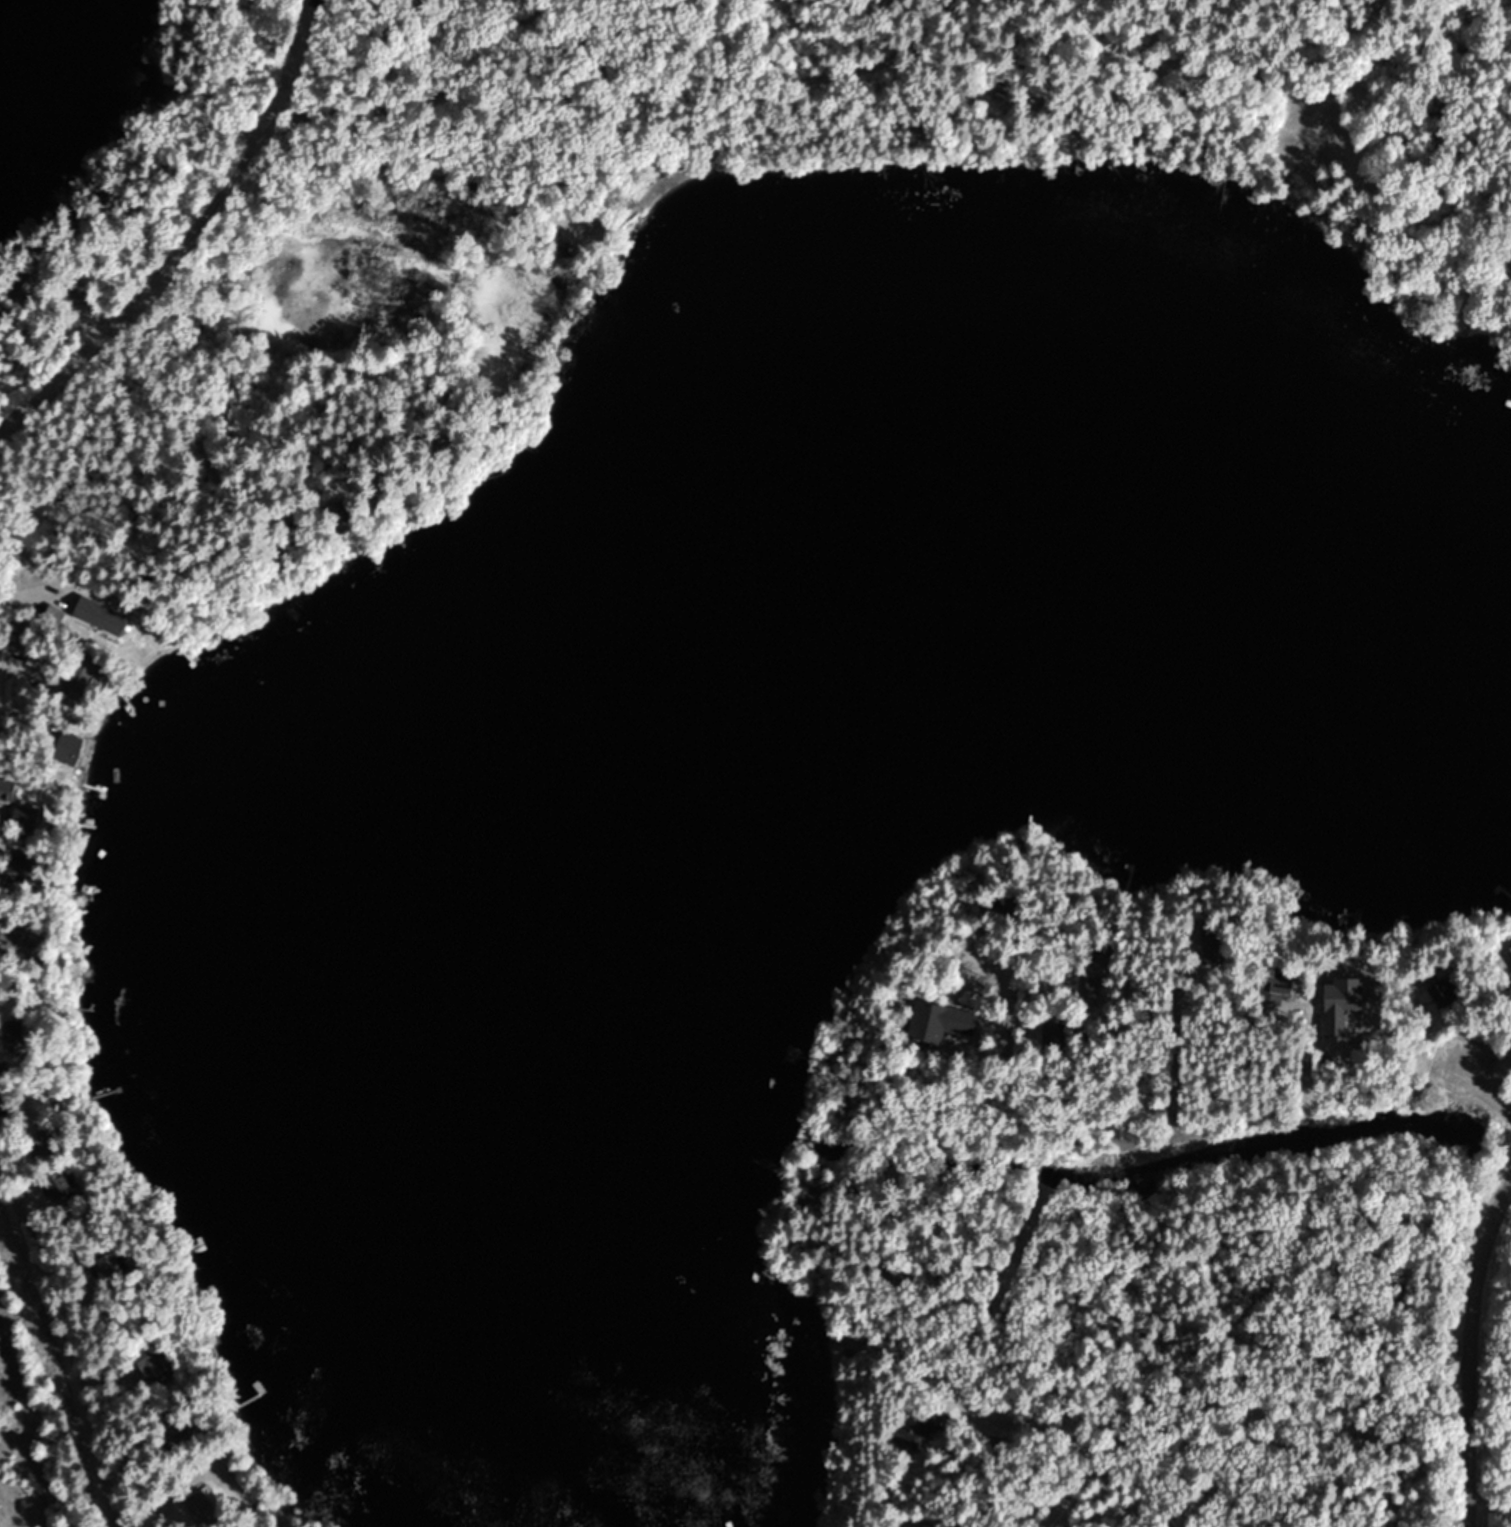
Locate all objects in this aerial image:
road: (1224, 17)
road: (1215, 32)
road: (947, 73)
road: (839, 74)
building: (158, 87)
building: (1013, 92)
building: (140, 102)
road: (569, 108)
building: (280, 154)
road: (416, 164)
road: (528, 168)
road: (500, 235)
road: (202, 239)
building: (22, 289)
road: (490, 294)
road: (315, 476)
building: (338, 489)
building: (118, 626)
building: (6, 790)
building: (24, 815)
building: (15, 870)
building: (1283, 985)
building: (939, 1022)
building: (10, 1034)
building: (1051, 1035)
road: (1208, 1138)
building: (37, 1146)
building: (56, 1186)
building: (108, 1267)
road: (1471, 1353)
road: (64, 1354)
building: (154, 1368)
building: (918, 1426)
road: (1030, 1427)
road: (1108, 1473)
building: (200, 1504)
road: (1492, 1510)

